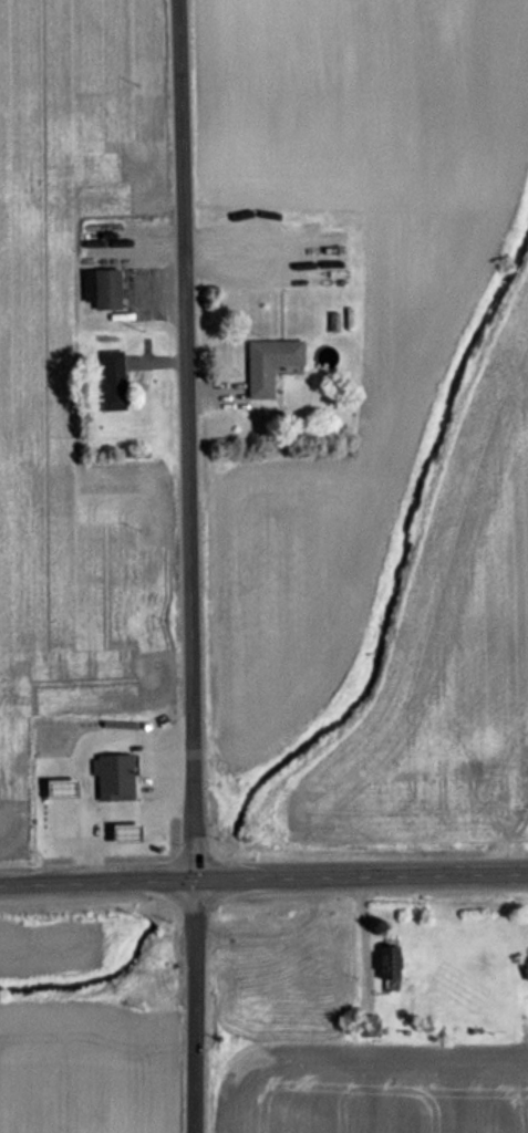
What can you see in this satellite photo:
building: (110, 290)
building: (272, 364)
building: (114, 381)
road: (187, 438)
road: (102, 738)
building: (115, 771)
building: (58, 777)
road: (111, 813)
building: (126, 831)
road: (263, 876)
building: (392, 962)
building: (527, 968)
road: (194, 1006)

